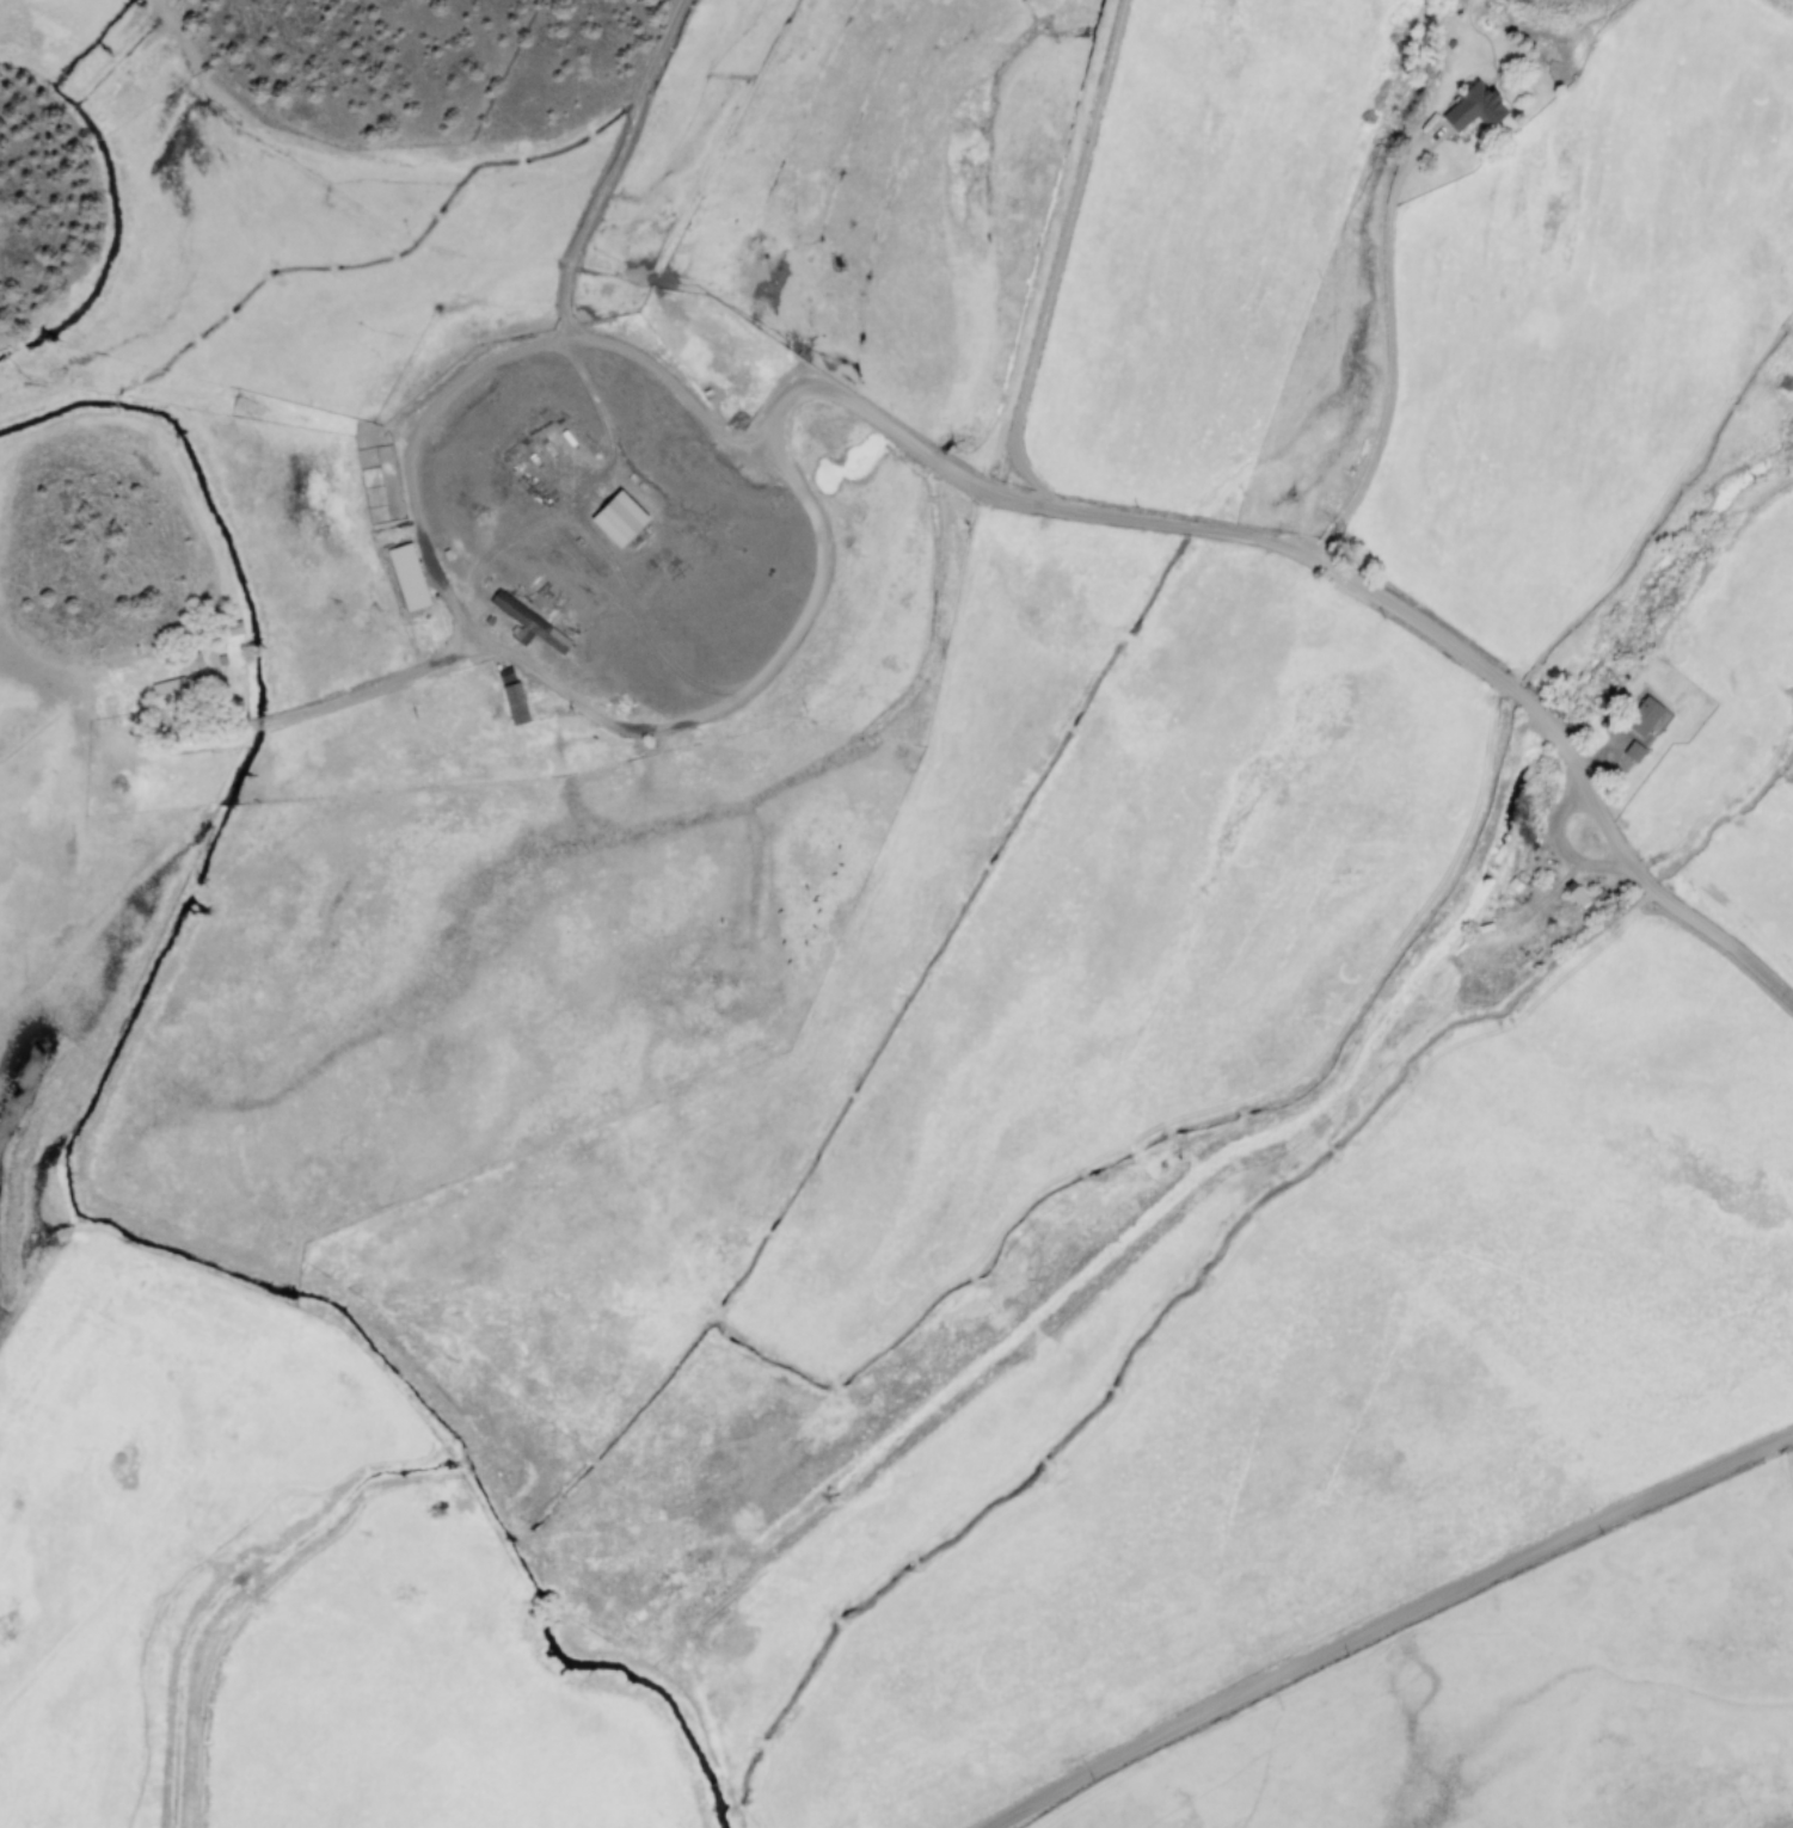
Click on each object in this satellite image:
building: (1469, 1)
building: (1472, 107)
road: (1056, 248)
road: (1390, 345)
road: (894, 432)
building: (616, 518)
building: (406, 577)
building: (528, 623)
building: (170, 690)
building: (514, 703)
building: (1642, 715)
building: (1633, 751)
building: (1578, 898)
road: (1383, 1619)

